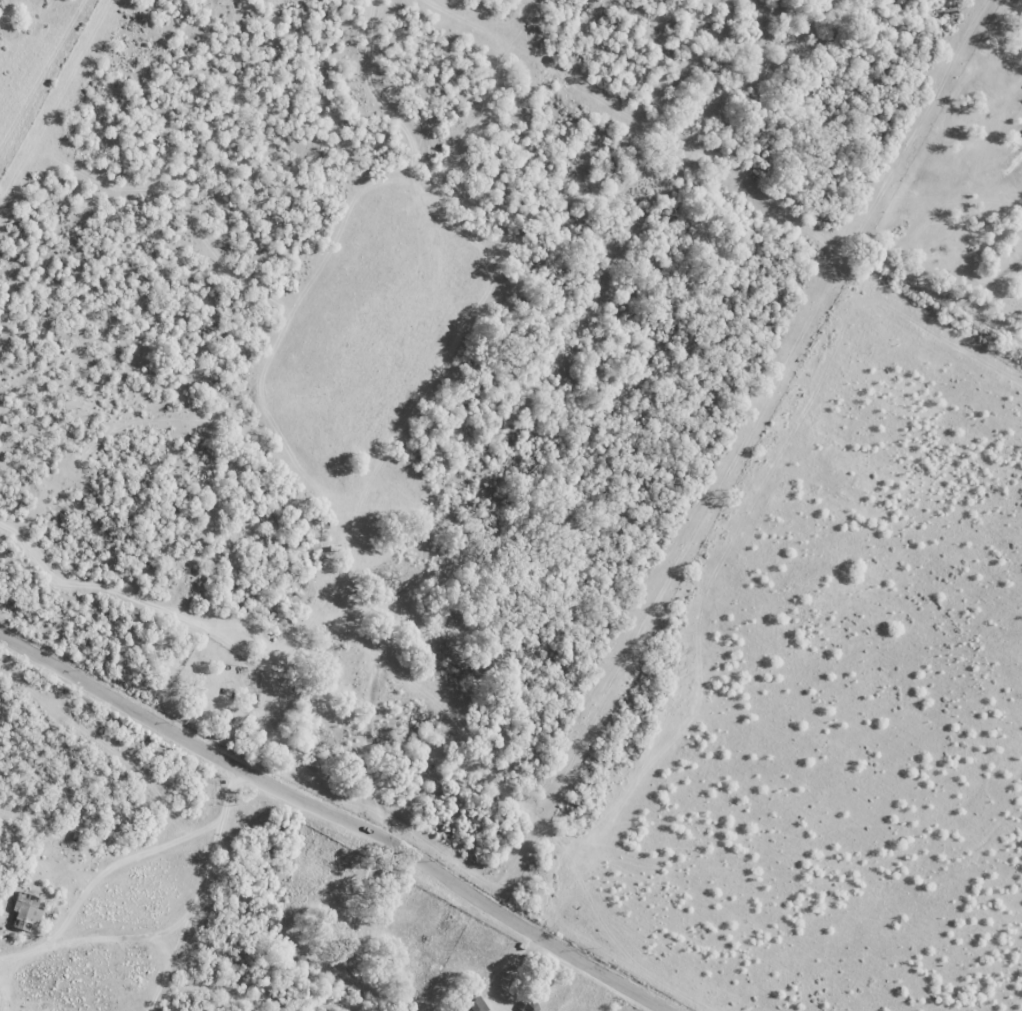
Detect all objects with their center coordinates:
road: (337, 816)
road: (197, 890)
building: (30, 908)
road: (88, 936)
road: (507, 970)
building: (479, 1005)

